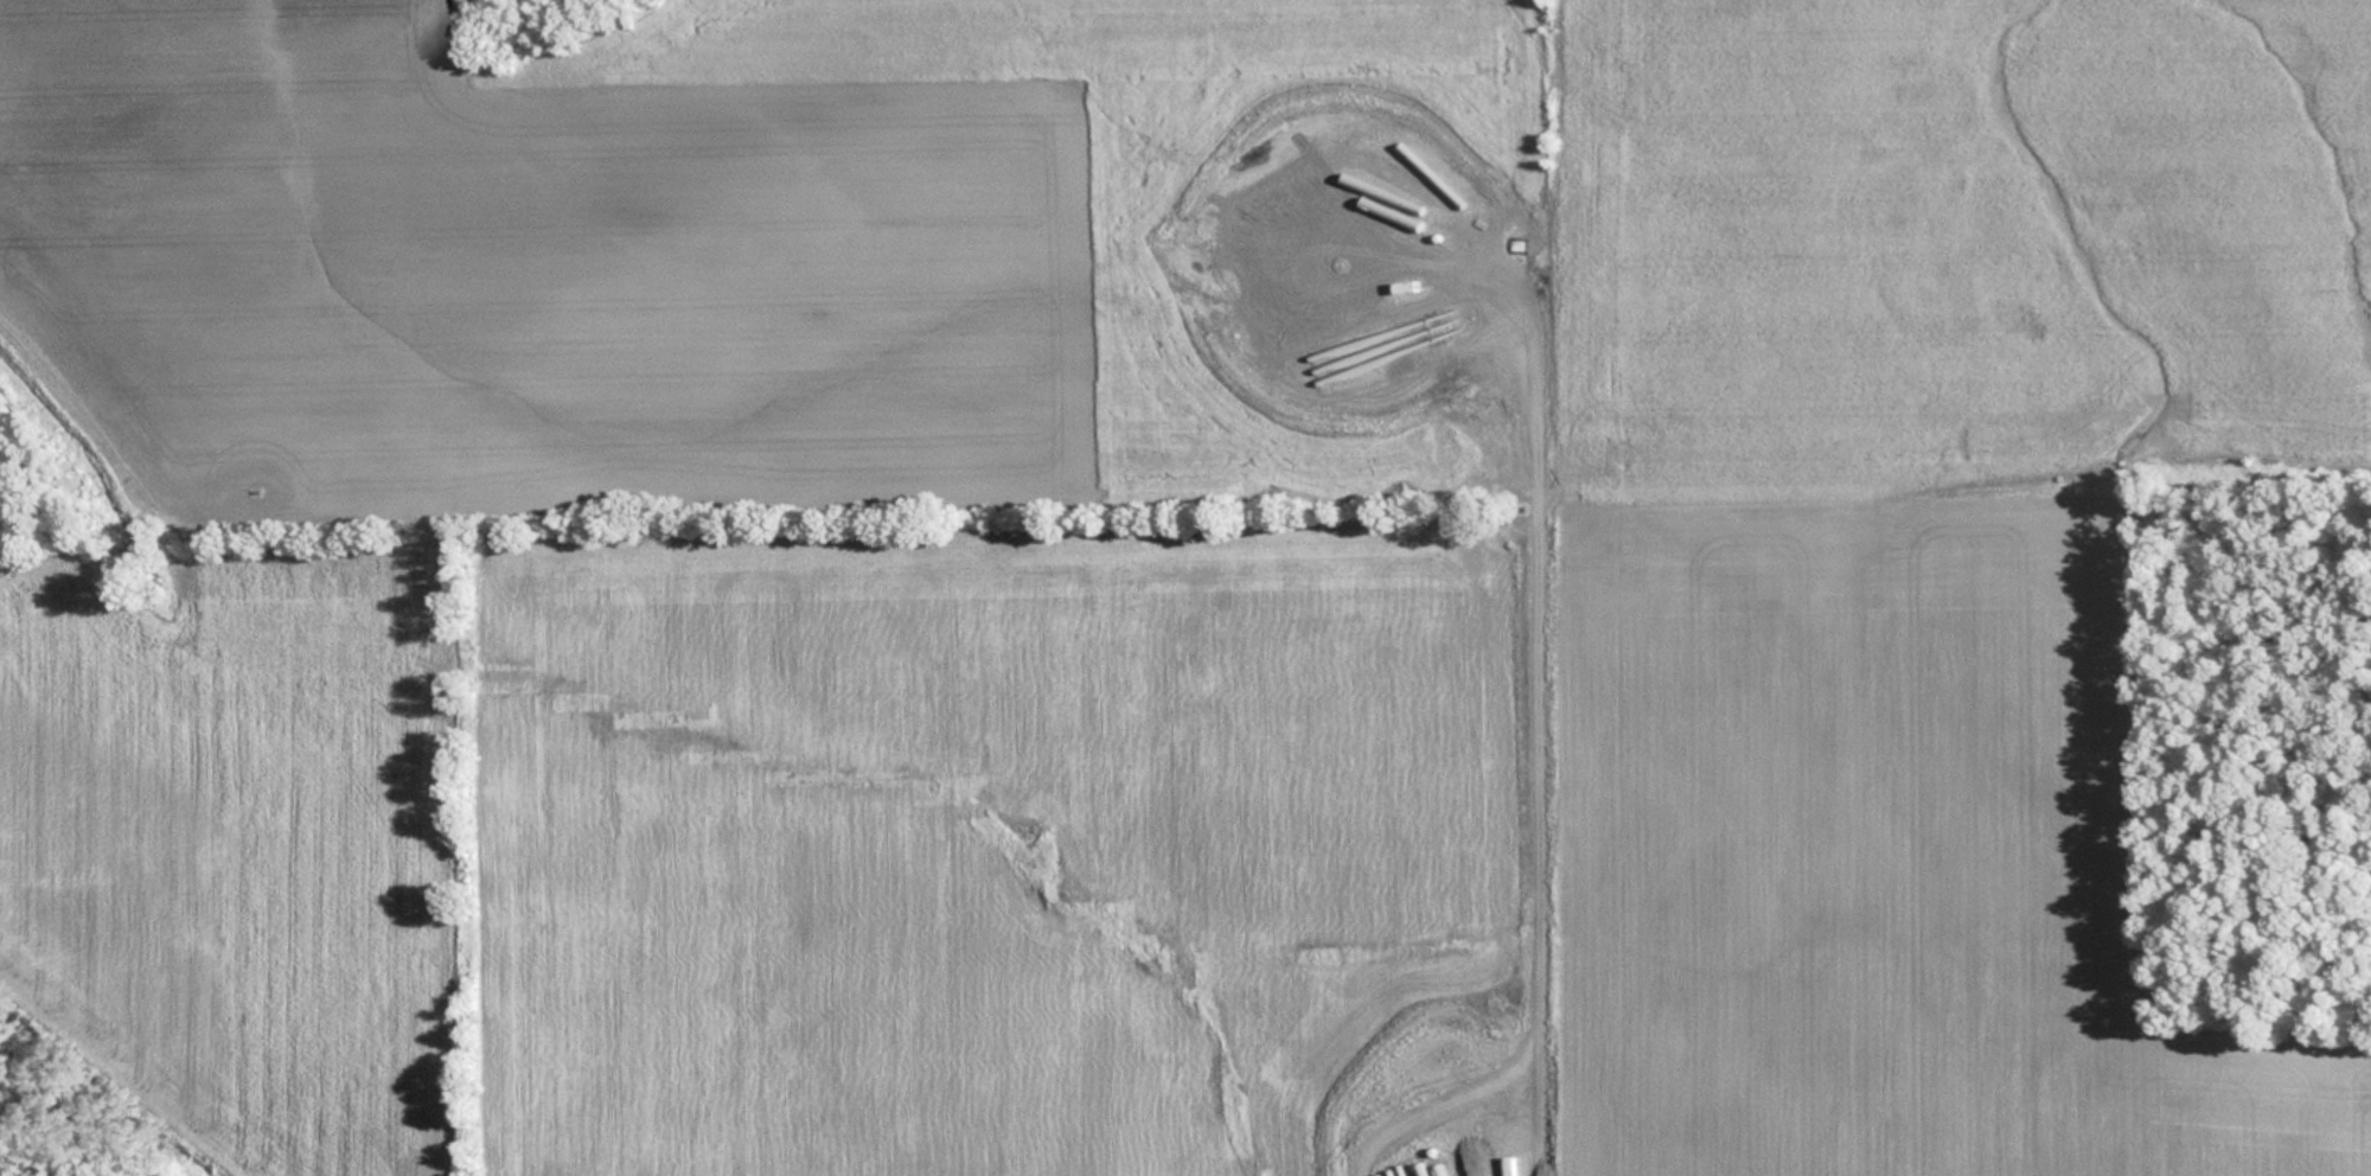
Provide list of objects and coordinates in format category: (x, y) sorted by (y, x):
wind turbine: (1330, 264)
wind turbine: (1445, 1151)

